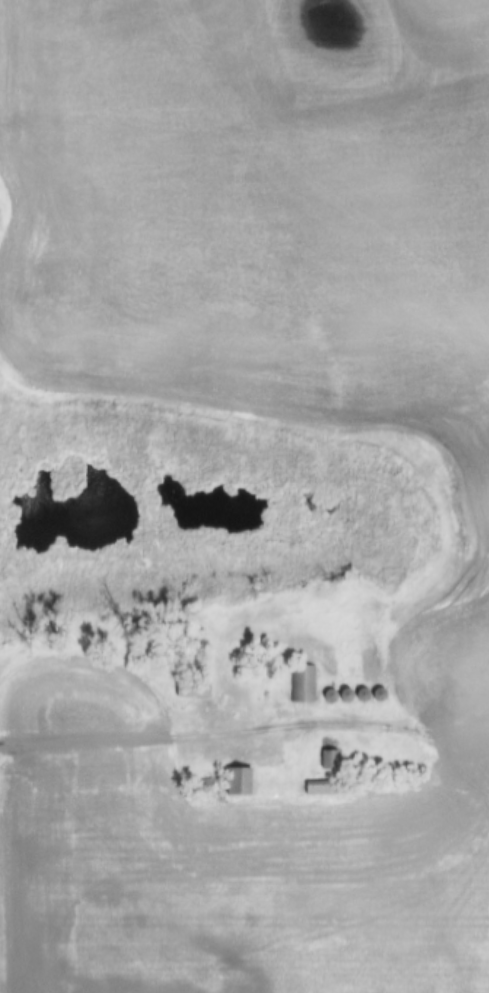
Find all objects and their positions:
building: (304, 685)
building: (198, 690)
road: (153, 741)
building: (333, 761)
building: (243, 783)

